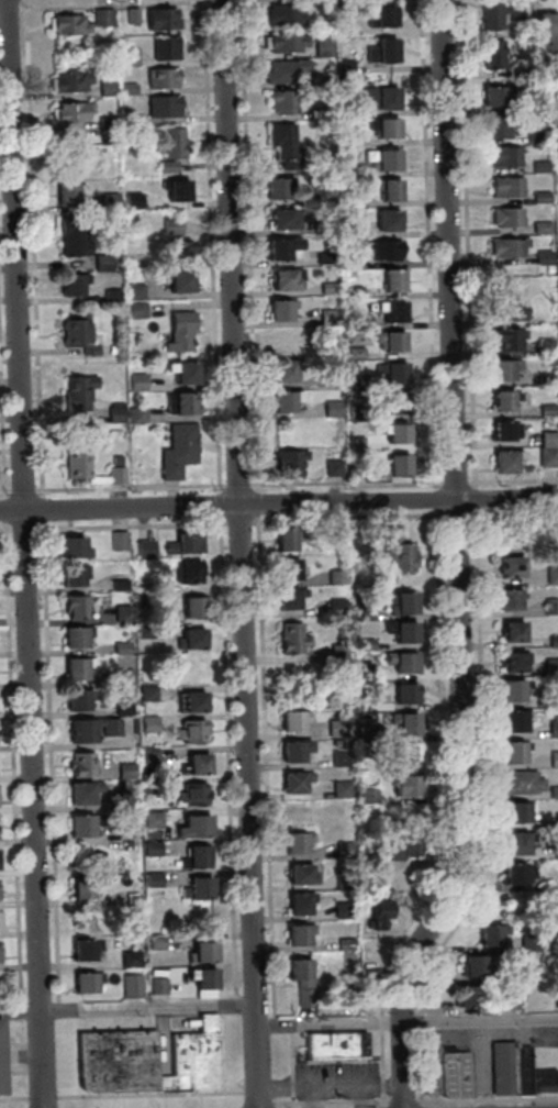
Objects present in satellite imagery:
road: (220, 0)
road: (112, 4)
building: (321, 8)
building: (342, 8)
road: (8, 10)
building: (496, 13)
building: (281, 14)
building: (130, 15)
building: (100, 16)
building: (380, 18)
building: (159, 19)
building: (67, 25)
building: (547, 32)
building: (283, 42)
building: (320, 47)
building: (163, 48)
building: (380, 52)
building: (492, 54)
building: (125, 56)
building: (343, 67)
building: (283, 70)
building: (160, 78)
building: (317, 80)
building: (67, 81)
building: (104, 86)
building: (125, 89)
building: (495, 95)
building: (379, 97)
building: (281, 102)
building: (535, 104)
building: (161, 107)
building: (347, 108)
building: (69, 112)
building: (322, 113)
building: (127, 119)
building: (556, 119)
building: (104, 122)
building: (491, 128)
building: (386, 129)
building: (534, 136)
building: (344, 137)
building: (171, 143)
building: (282, 144)
building: (77, 148)
building: (556, 149)
building: (502, 156)
building: (381, 159)
building: (166, 166)
building: (538, 167)
building: (344, 170)
building: (504, 187)
building: (174, 189)
building: (274, 189)
building: (389, 191)
building: (67, 193)
building: (539, 197)
building: (108, 200)
building: (347, 200)
building: (504, 217)
building: (279, 220)
building: (384, 221)
building: (325, 225)
building: (170, 226)
building: (539, 228)
building: (349, 229)
building: (70, 237)
road: (464, 243)
road: (425, 244)
road: (209, 245)
road: (246, 245)
building: (506, 247)
road: (31, 248)
building: (279, 248)
building: (381, 250)
building: (178, 251)
building: (323, 258)
building: (543, 258)
building: (348, 261)
building: (101, 263)
building: (281, 280)
building: (176, 281)
building: (390, 281)
building: (69, 286)
building: (326, 288)
building: (351, 290)
building: (133, 291)
building: (110, 295)
building: (135, 309)
building: (277, 311)
building: (389, 311)
building: (505, 311)
building: (326, 317)
building: (353, 321)
building: (178, 331)
building: (76, 336)
building: (504, 340)
building: (387, 341)
building: (283, 342)
building: (544, 346)
building: (328, 347)
building: (354, 353)
building: (502, 369)
building: (280, 372)
building: (180, 373)
building: (390, 373)
building: (330, 378)
building: (544, 378)
building: (353, 380)
building: (134, 381)
building: (76, 392)
building: (283, 401)
building: (503, 401)
building: (393, 402)
building: (180, 405)
building: (330, 409)
building: (546, 410)
building: (115, 412)
building: (355, 412)
building: (136, 414)
building: (503, 431)
building: (392, 433)
building: (546, 440)
building: (355, 443)
building: (176, 451)
building: (546, 457)
building: (503, 462)
building: (76, 464)
building: (287, 464)
building: (393, 467)
building: (331, 468)
building: (114, 476)
road: (0, 477)
road: (512, 480)
road: (454, 481)
road: (344, 483)
road: (235, 485)
road: (127, 487)
road: (19, 490)
road: (3, 491)
road: (472, 498)
road: (434, 499)
road: (255, 503)
road: (278, 503)
road: (217, 505)
road: (1, 510)
road: (40, 510)
road: (512, 512)
road: (454, 514)
road: (345, 518)
road: (235, 522)
road: (127, 525)
road: (3, 529)
road: (20, 529)
building: (333, 534)
building: (116, 540)
building: (182, 541)
building: (282, 541)
building: (70, 543)
building: (144, 549)
building: (395, 552)
road: (23, 554)
road: (239, 554)
road: (456, 561)
building: (507, 568)
building: (185, 570)
building: (286, 570)
building: (70, 574)
building: (550, 576)
building: (334, 577)
building: (118, 583)
building: (142, 599)
building: (287, 599)
building: (506, 600)
building: (398, 601)
building: (72, 605)
building: (335, 605)
building: (191, 607)
building: (549, 607)
building: (120, 611)
building: (362, 612)
building: (144, 630)
building: (399, 632)
building: (511, 633)
building: (74, 636)
building: (189, 638)
building: (290, 639)
building: (553, 641)
building: (361, 644)
building: (119, 647)
building: (337, 652)
building: (400, 662)
building: (512, 663)
building: (76, 665)
building: (550, 667)
building: (362, 673)
building: (120, 677)
building: (511, 690)
building: (145, 693)
building: (400, 693)
building: (553, 699)
building: (76, 700)
building: (192, 700)
building: (121, 709)
building: (290, 721)
building: (512, 722)
building: (146, 723)
building: (402, 724)
building: (89, 729)
building: (334, 729)
building: (553, 730)
building: (189, 731)
building: (364, 733)
building: (334, 743)
building: (292, 751)
building: (511, 753)
building: (148, 755)
building: (337, 758)
building: (553, 760)
building: (193, 763)
road: (224, 763)
building: (79, 764)
road: (46, 767)
road: (9, 768)
building: (124, 769)
road: (263, 772)
building: (518, 783)
building: (293, 784)
building: (402, 786)
building: (147, 787)
building: (339, 789)
building: (553, 791)
building: (81, 793)
building: (191, 795)
building: (366, 796)
building: (122, 799)
road: (481, 811)
road: (443, 812)
building: (515, 812)
building: (150, 819)
building: (555, 820)
building: (79, 824)
building: (193, 826)
building: (409, 842)
building: (294, 843)
building: (515, 843)
building: (149, 849)
building: (343, 850)
building: (395, 850)
building: (555, 851)
building: (193, 856)
building: (367, 866)
building: (515, 874)
building: (300, 875)
building: (150, 878)
building: (551, 878)
building: (343, 880)
building: (83, 885)
building: (197, 886)
building: (297, 906)
building: (342, 910)
building: (376, 916)
building: (0, 920)
building: (490, 934)
building: (295, 937)
building: (154, 942)
building: (344, 944)
building: (527, 944)
building: (81, 950)
building: (200, 952)
building: (129, 956)
building: (478, 965)
road: (25, 966)
road: (49, 966)
building: (376, 974)
building: (90, 982)
building: (209, 982)
building: (308, 982)
building: (164, 986)
building: (137, 987)
building: (472, 994)
building: (557, 995)
building: (514, 1001)
road: (130, 1008)
road: (409, 1022)
road: (468, 1041)
building: (341, 1046)
road: (226, 1050)
road: (79, 1054)
road: (12, 1055)
building: (201, 1057)
building: (3, 1059)
building: (122, 1062)
road: (487, 1064)
road: (295, 1065)
building: (509, 1067)
building: (527, 1068)
building: (437, 1070)
building: (459, 1074)
building: (549, 1079)
parking lot: (342, 1082)
building: (169, 1084)
road: (334, 1087)
road: (154, 1095)
road: (368, 1097)
road: (263, 1098)
road: (315, 1098)
road: (15, 1099)
road: (47, 1099)
road: (489, 1099)
road: (336, 1101)
road: (409, 1101)

